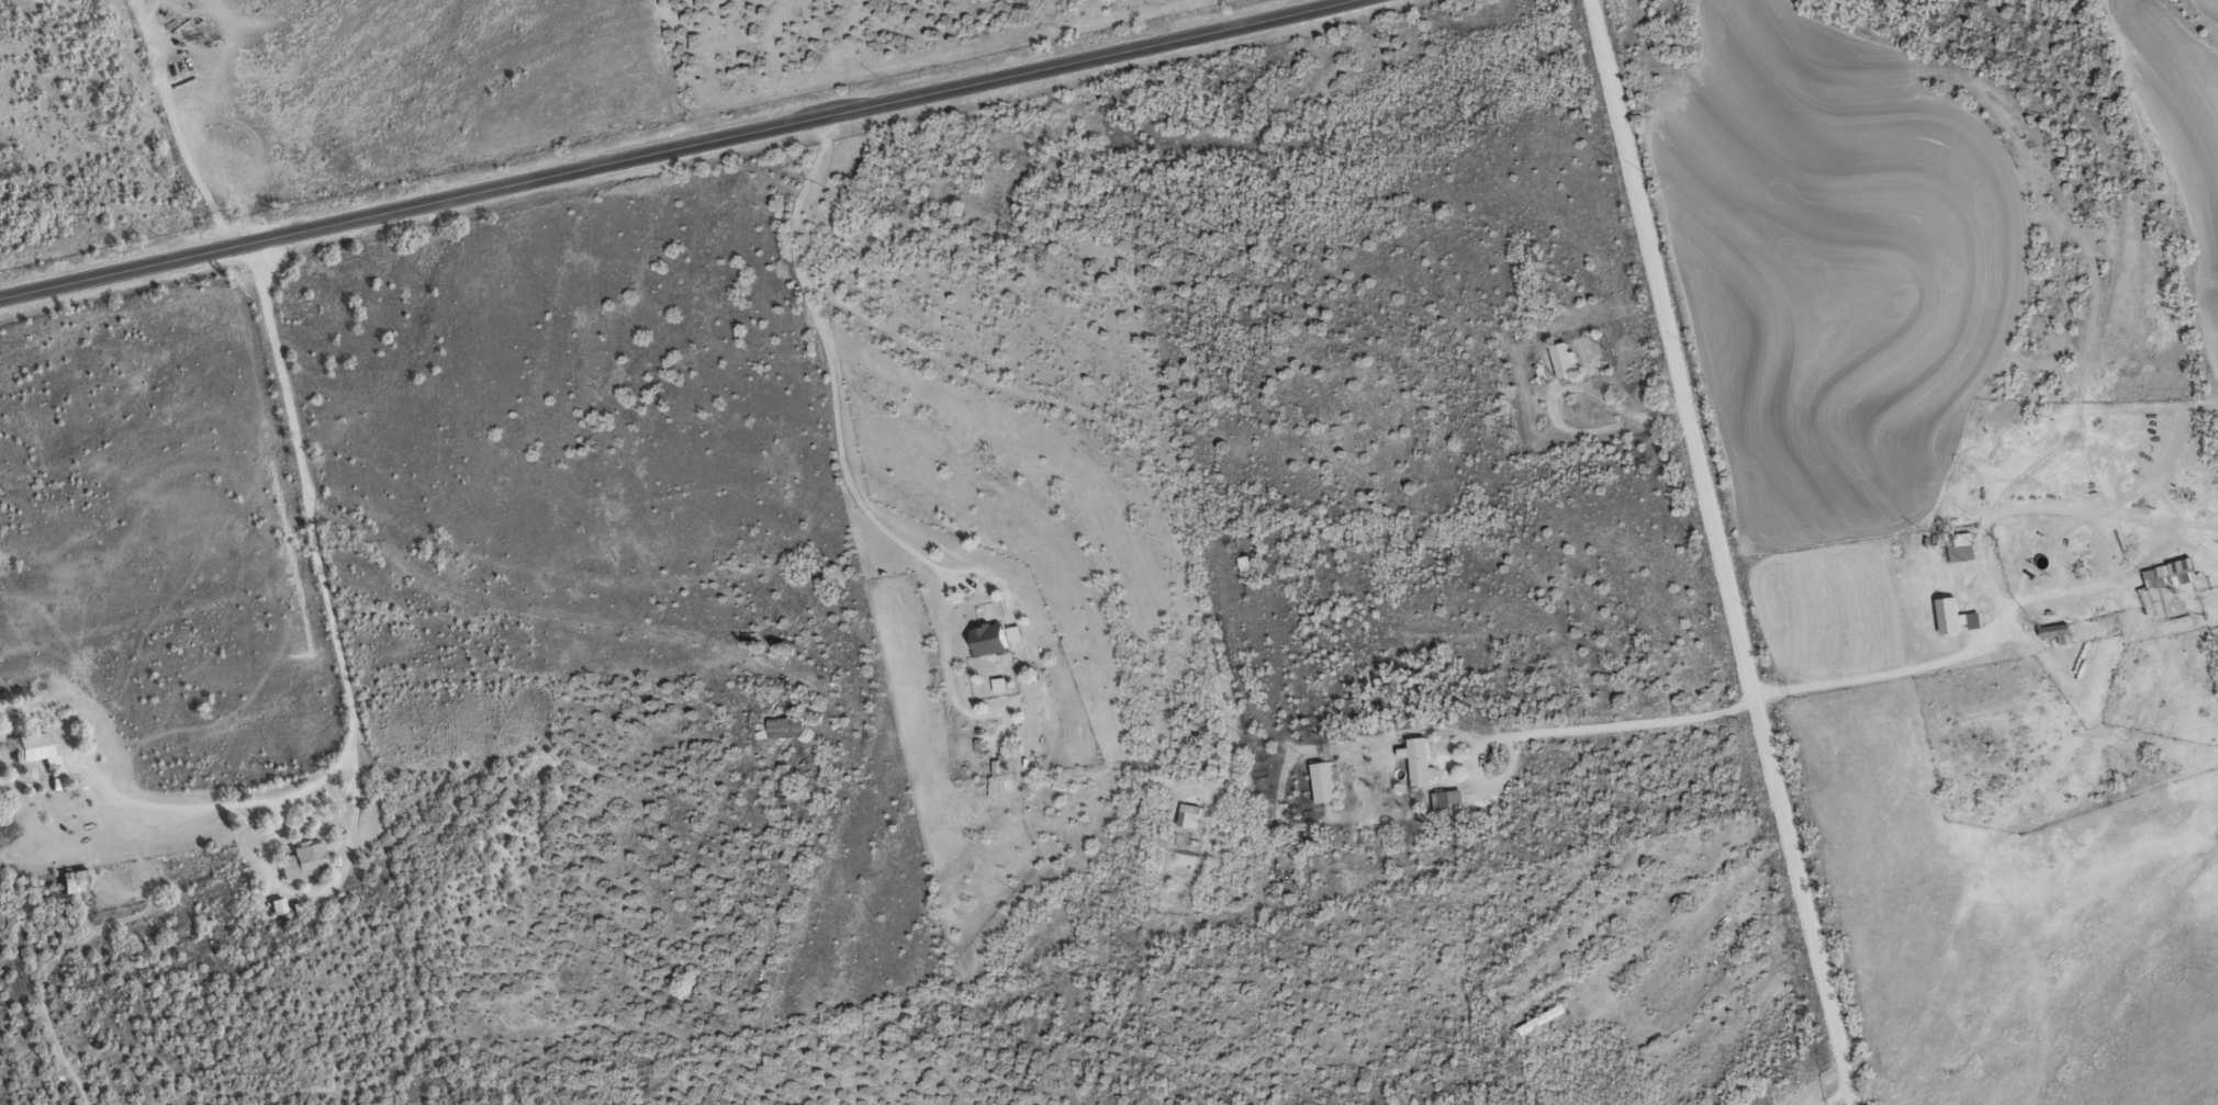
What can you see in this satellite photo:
road: (173, 126)
road: (671, 149)
road: (828, 359)
building: (1562, 359)
building: (1542, 373)
road: (1133, 446)
road: (1716, 546)
building: (1961, 546)
building: (1243, 563)
building: (2170, 573)
road: (1999, 614)
building: (1953, 617)
building: (993, 636)
road: (336, 642)
building: (998, 684)
building: (778, 728)
road: (1564, 734)
building: (29, 746)
building: (1418, 762)
building: (1322, 781)
building: (1445, 801)
building: (1188, 814)
building: (303, 859)
building: (72, 880)
building: (277, 905)
road: (1830, 1101)

